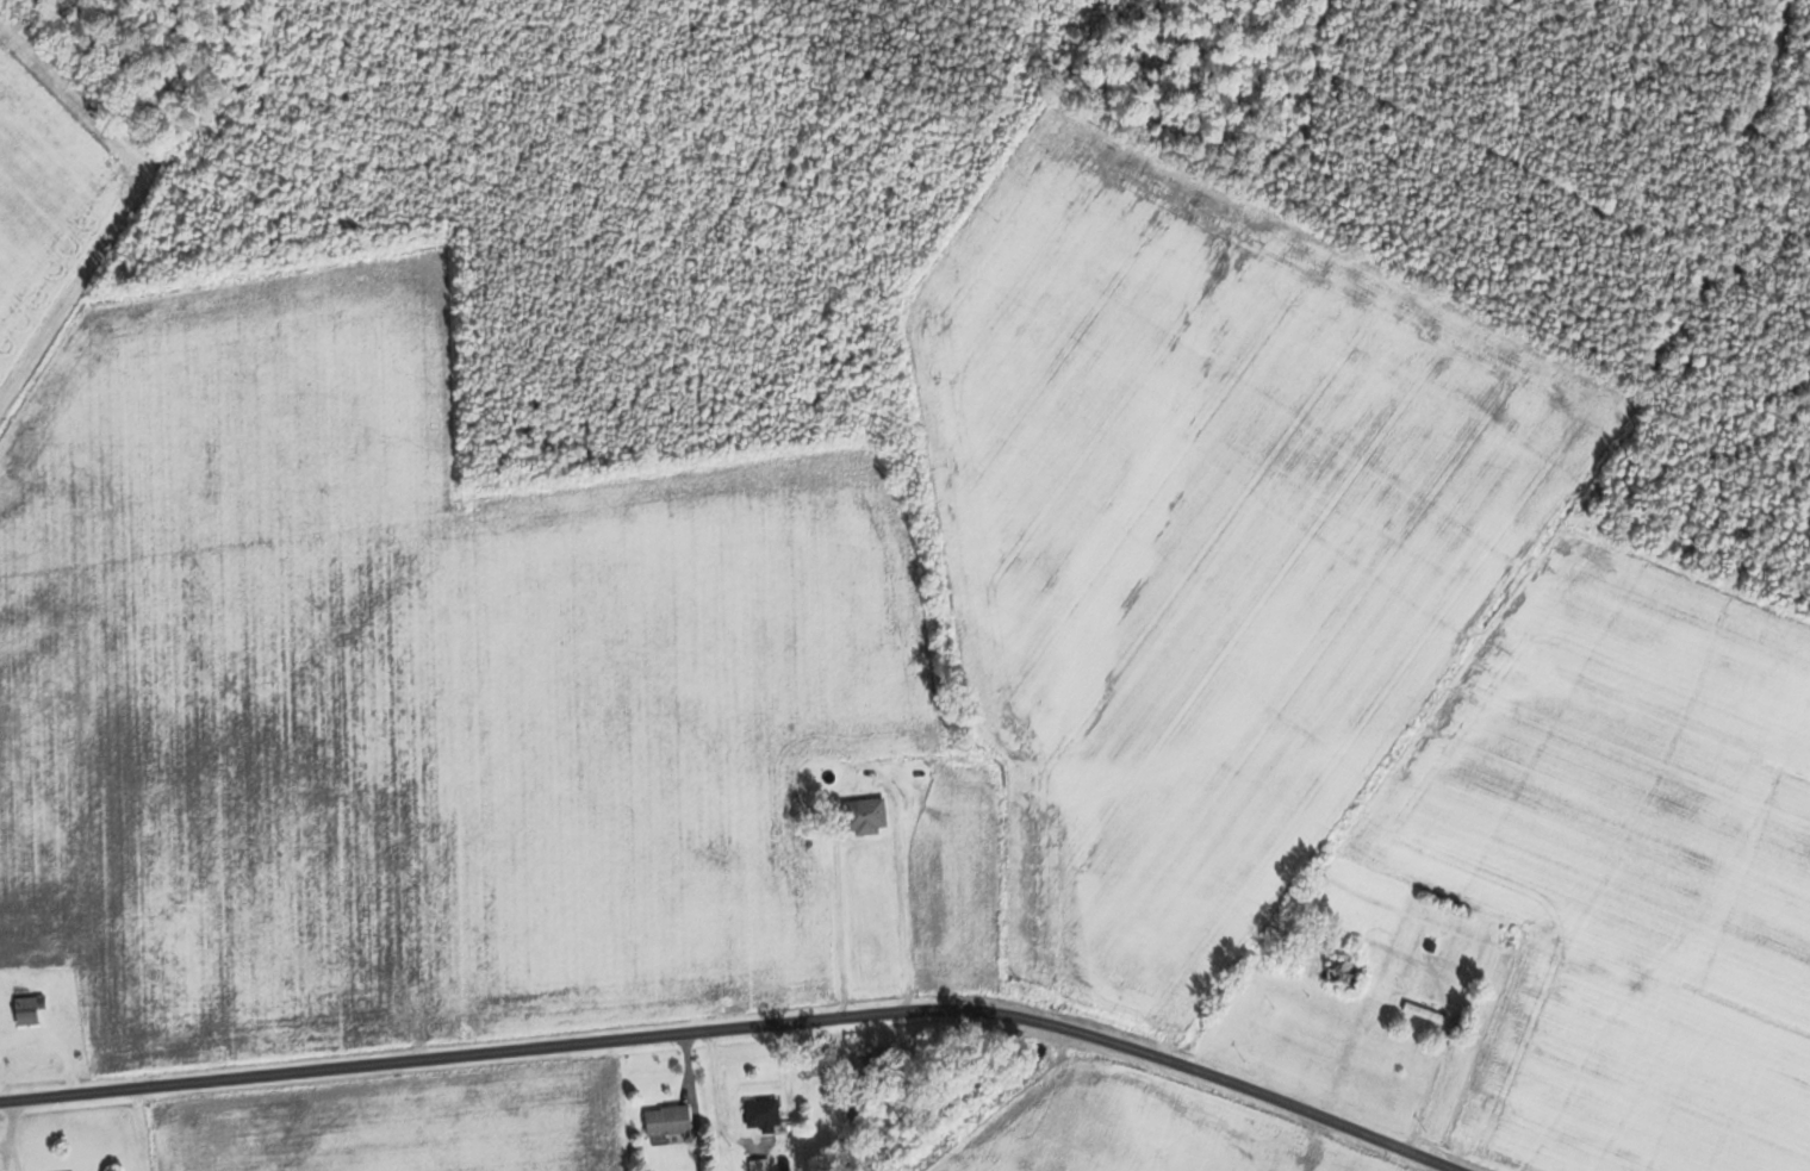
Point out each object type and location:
building: (869, 816)
building: (1333, 973)
building: (30, 1010)
building: (1420, 1014)
road: (732, 1034)
building: (881, 1063)
building: (766, 1114)
building: (672, 1120)

